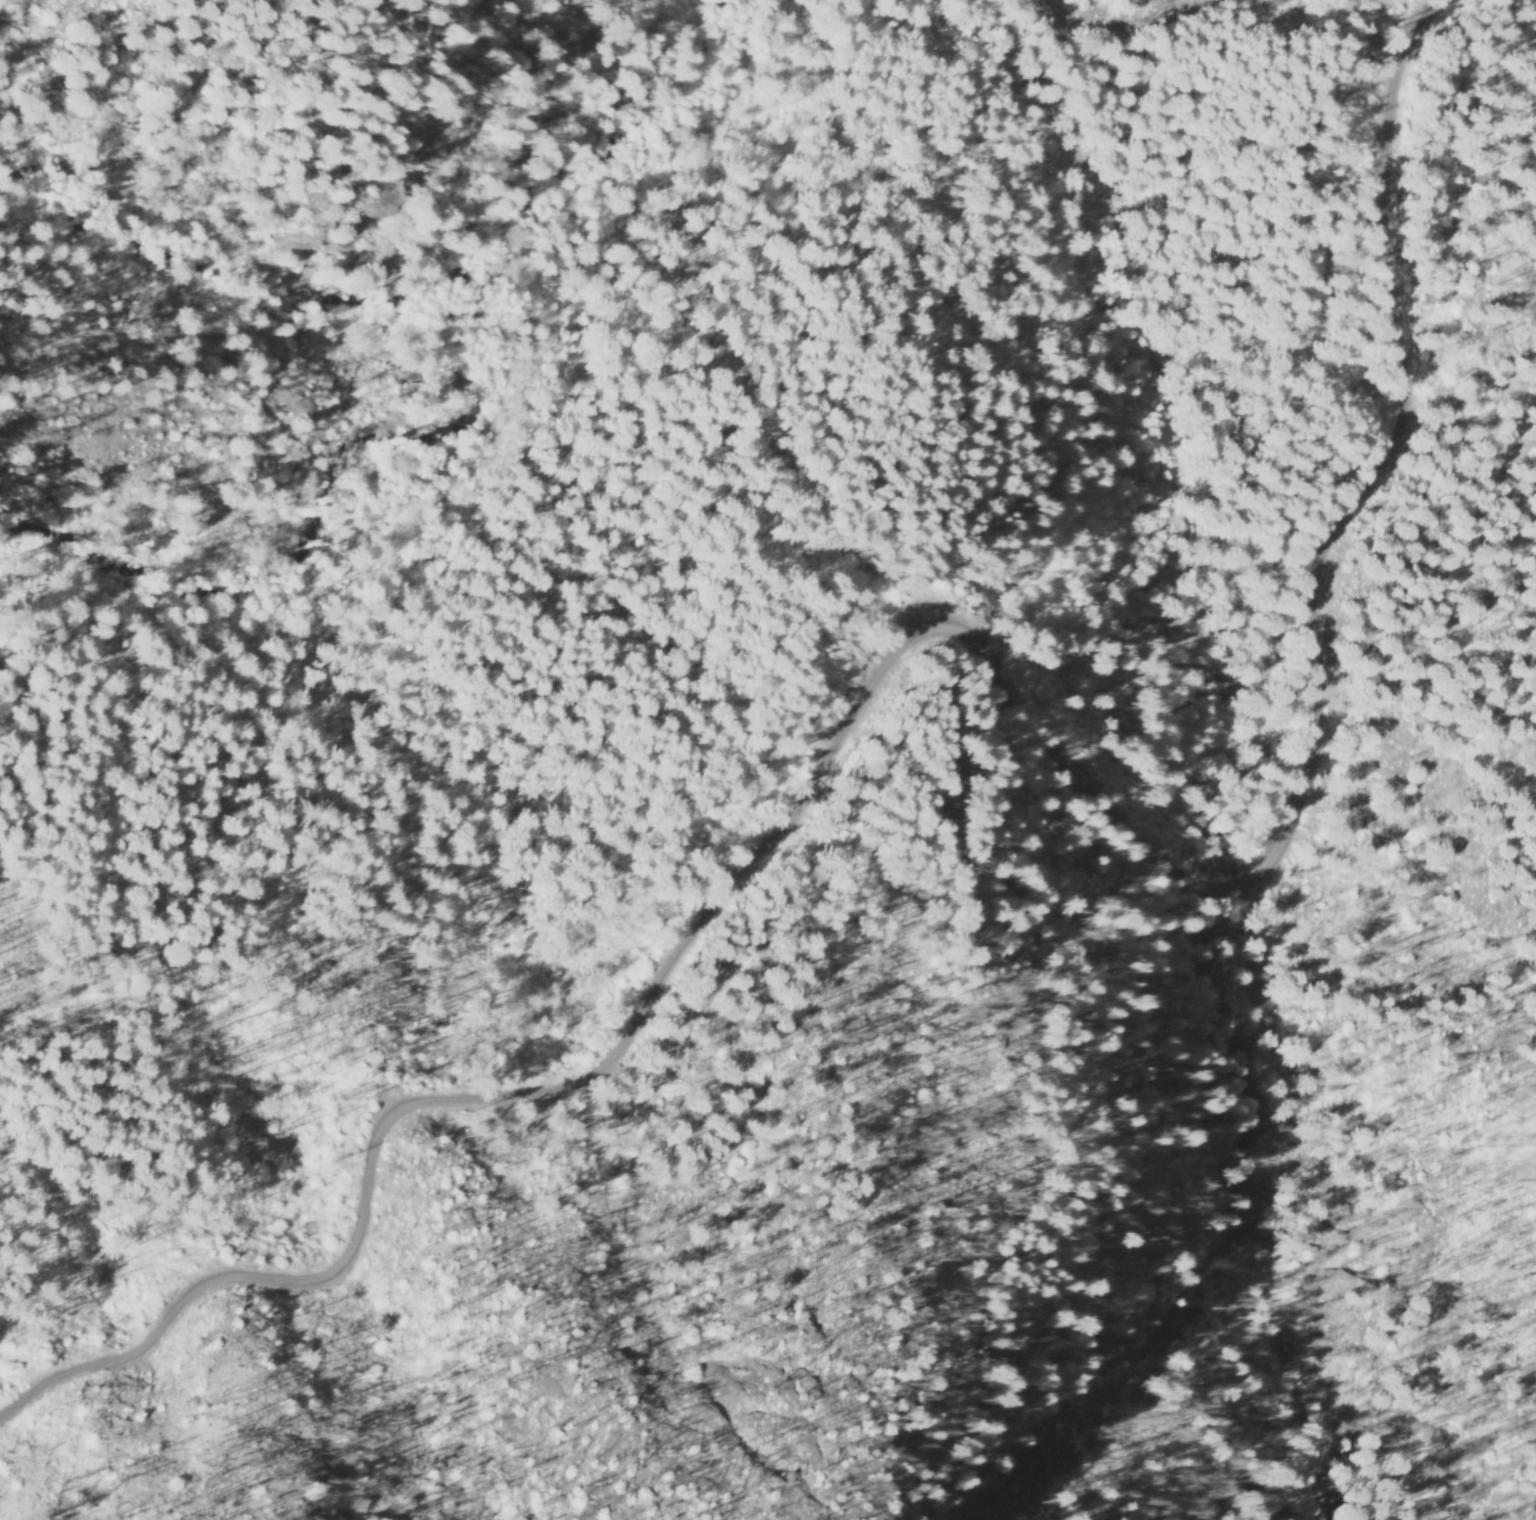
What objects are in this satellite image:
road: (409, 333)
road: (963, 631)

